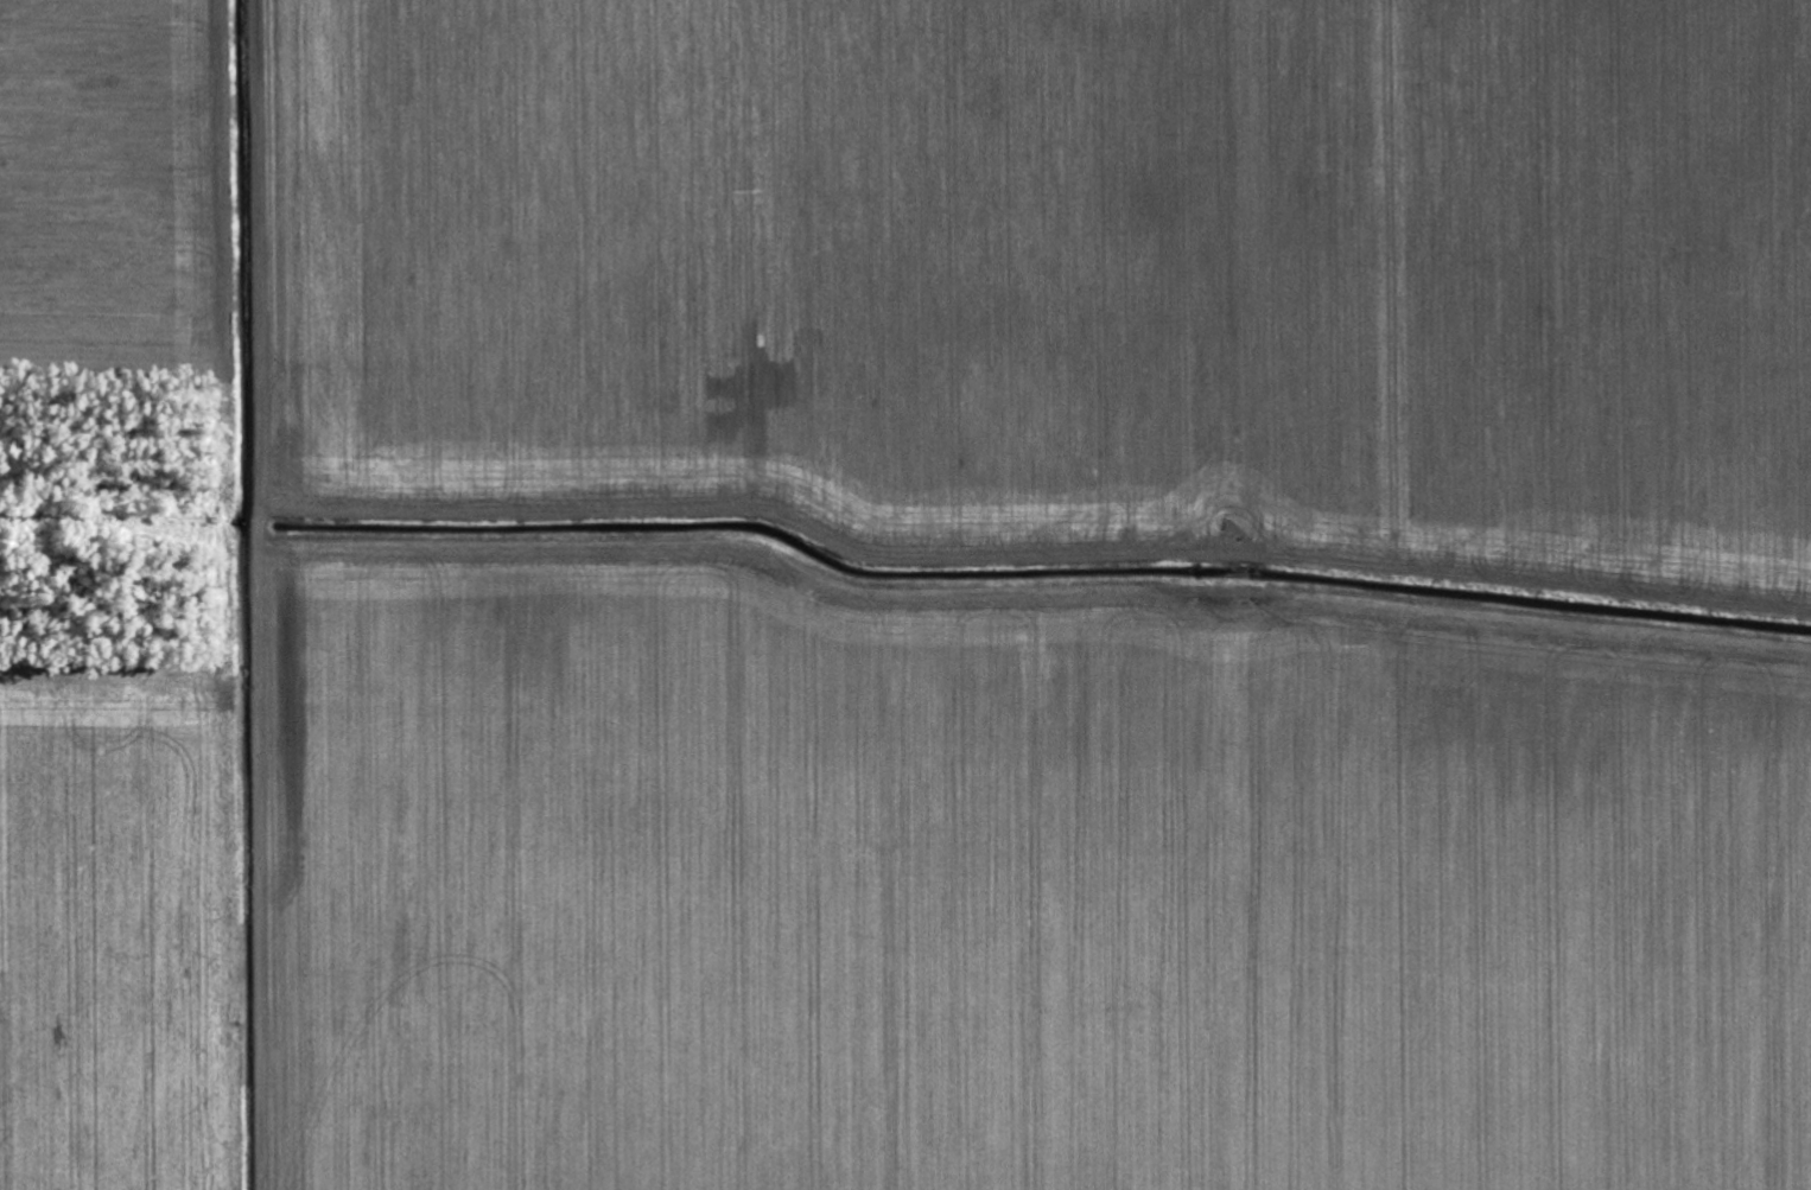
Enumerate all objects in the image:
road: (259, 872)

